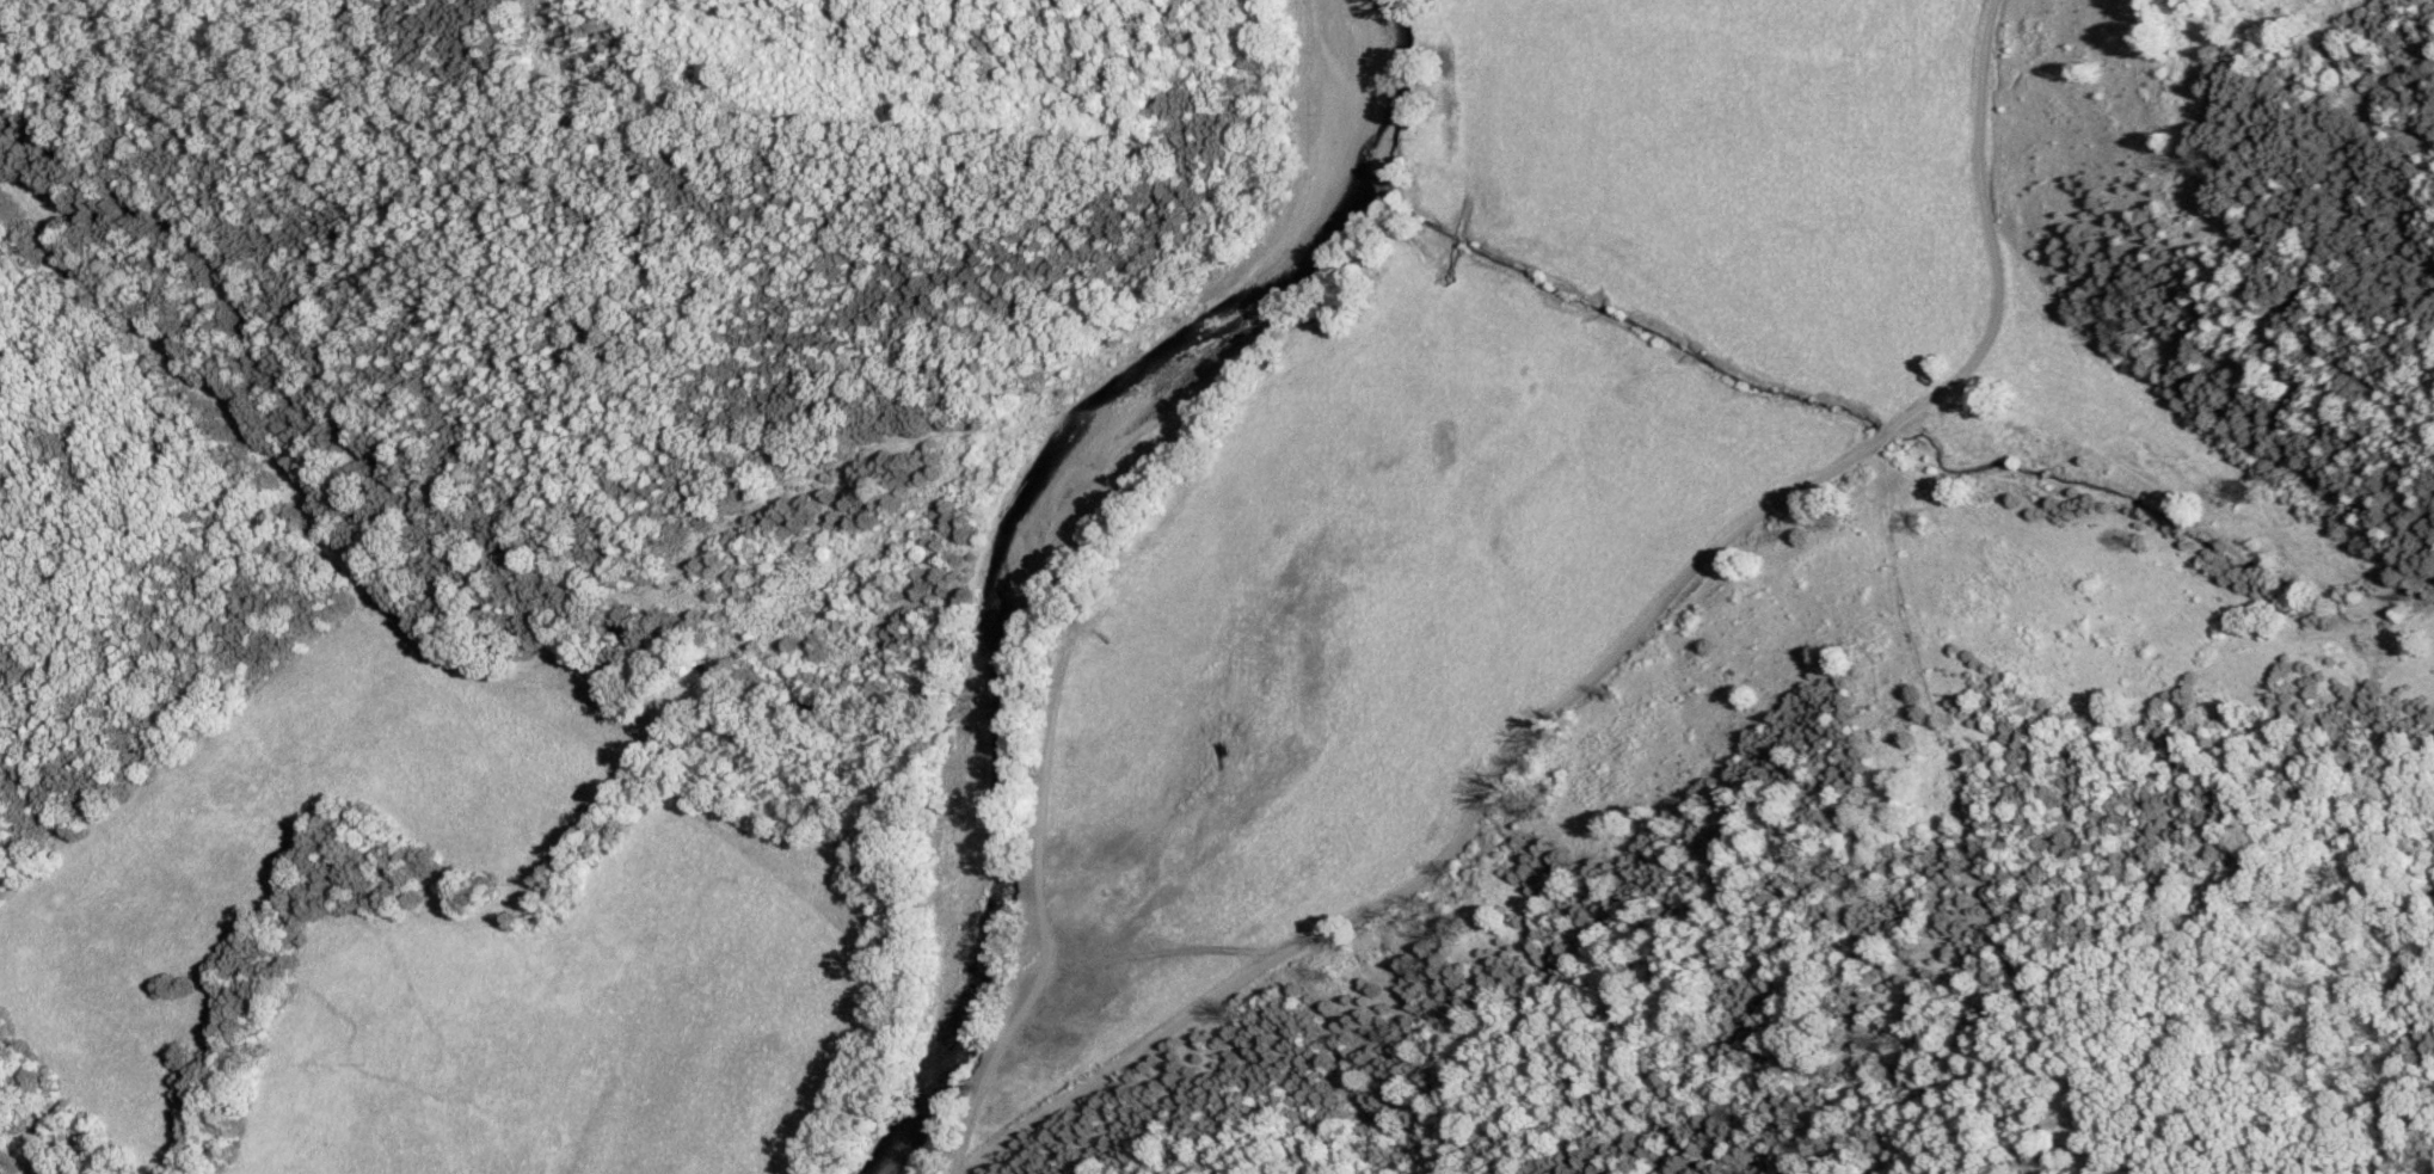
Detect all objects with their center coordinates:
road: (1609, 654)

